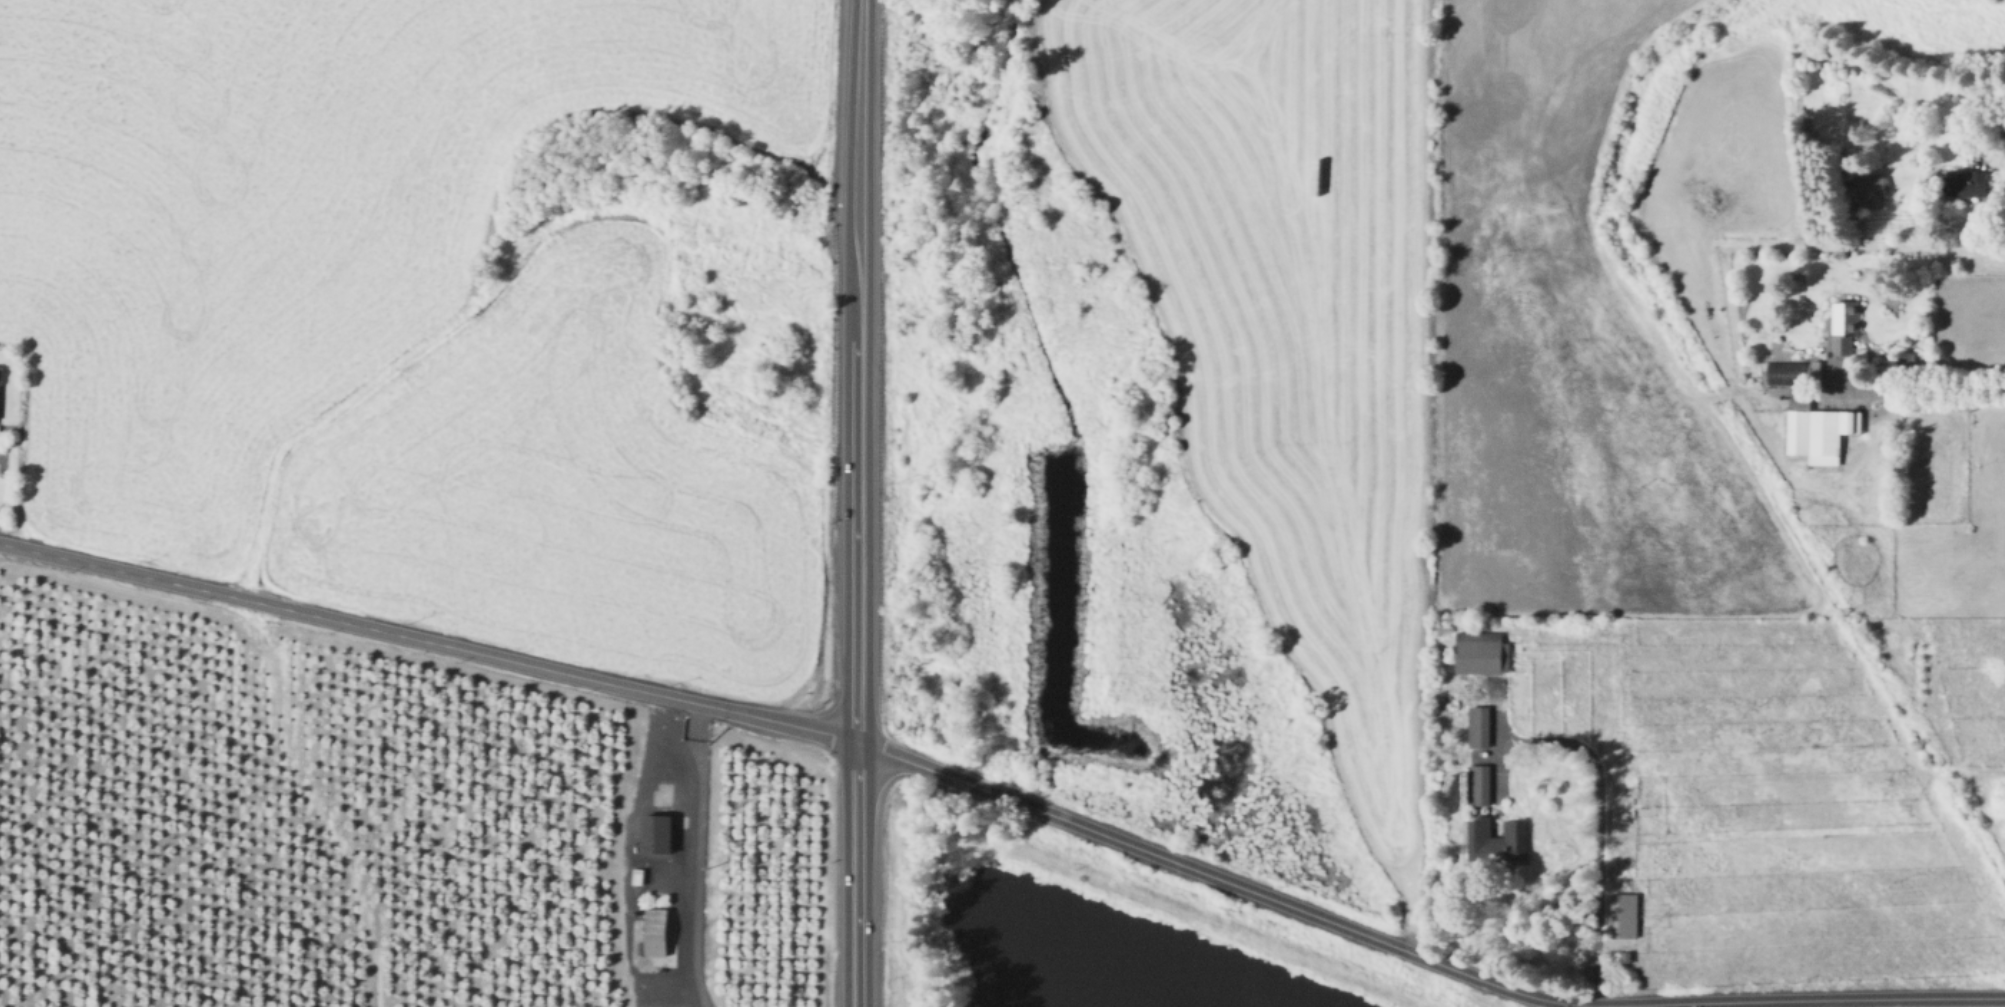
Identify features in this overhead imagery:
road: (1945, 111)
building: (1963, 185)
building: (1872, 189)
crop: (398, 319)
building: (1845, 324)
building: (1910, 357)
building: (0, 371)
building: (1786, 375)
road: (1926, 389)
building: (1819, 430)
road: (858, 503)
road: (429, 640)
building: (1483, 653)
road: (1501, 704)
building: (1480, 727)
building: (1481, 785)
road: (1598, 802)
building: (1642, 808)
building: (655, 832)
building: (1498, 840)
road: (689, 856)
building: (636, 875)
building: (1626, 915)
building: (654, 931)
road: (1416, 954)
building: (1627, 957)
road: (1832, 1003)

